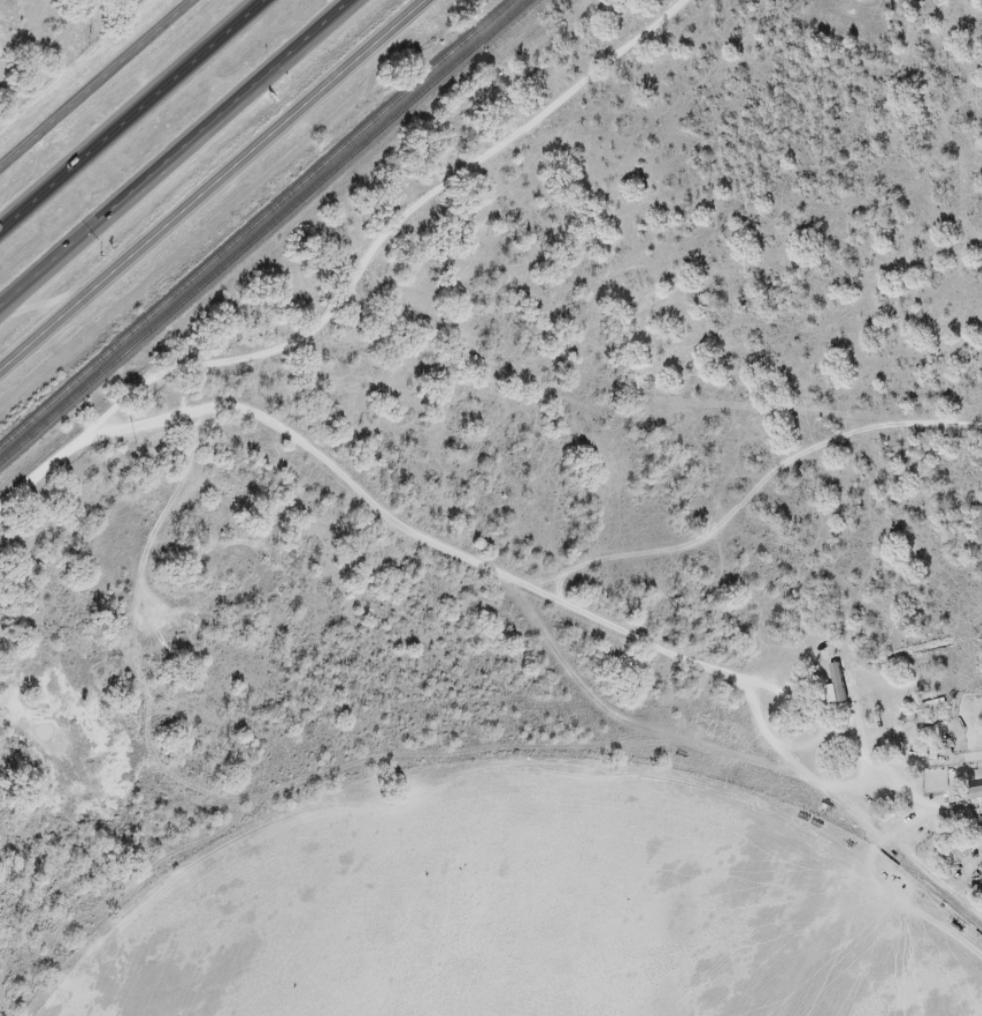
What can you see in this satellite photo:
road: (951, 29)
road: (99, 86)
road: (131, 113)
road: (176, 157)
road: (211, 183)
railway: (251, 220)
railway: (265, 231)
road: (353, 289)
road: (749, 493)
road: (574, 608)
building: (835, 686)
building: (976, 793)
road: (953, 812)
road: (930, 871)
building: (981, 882)

